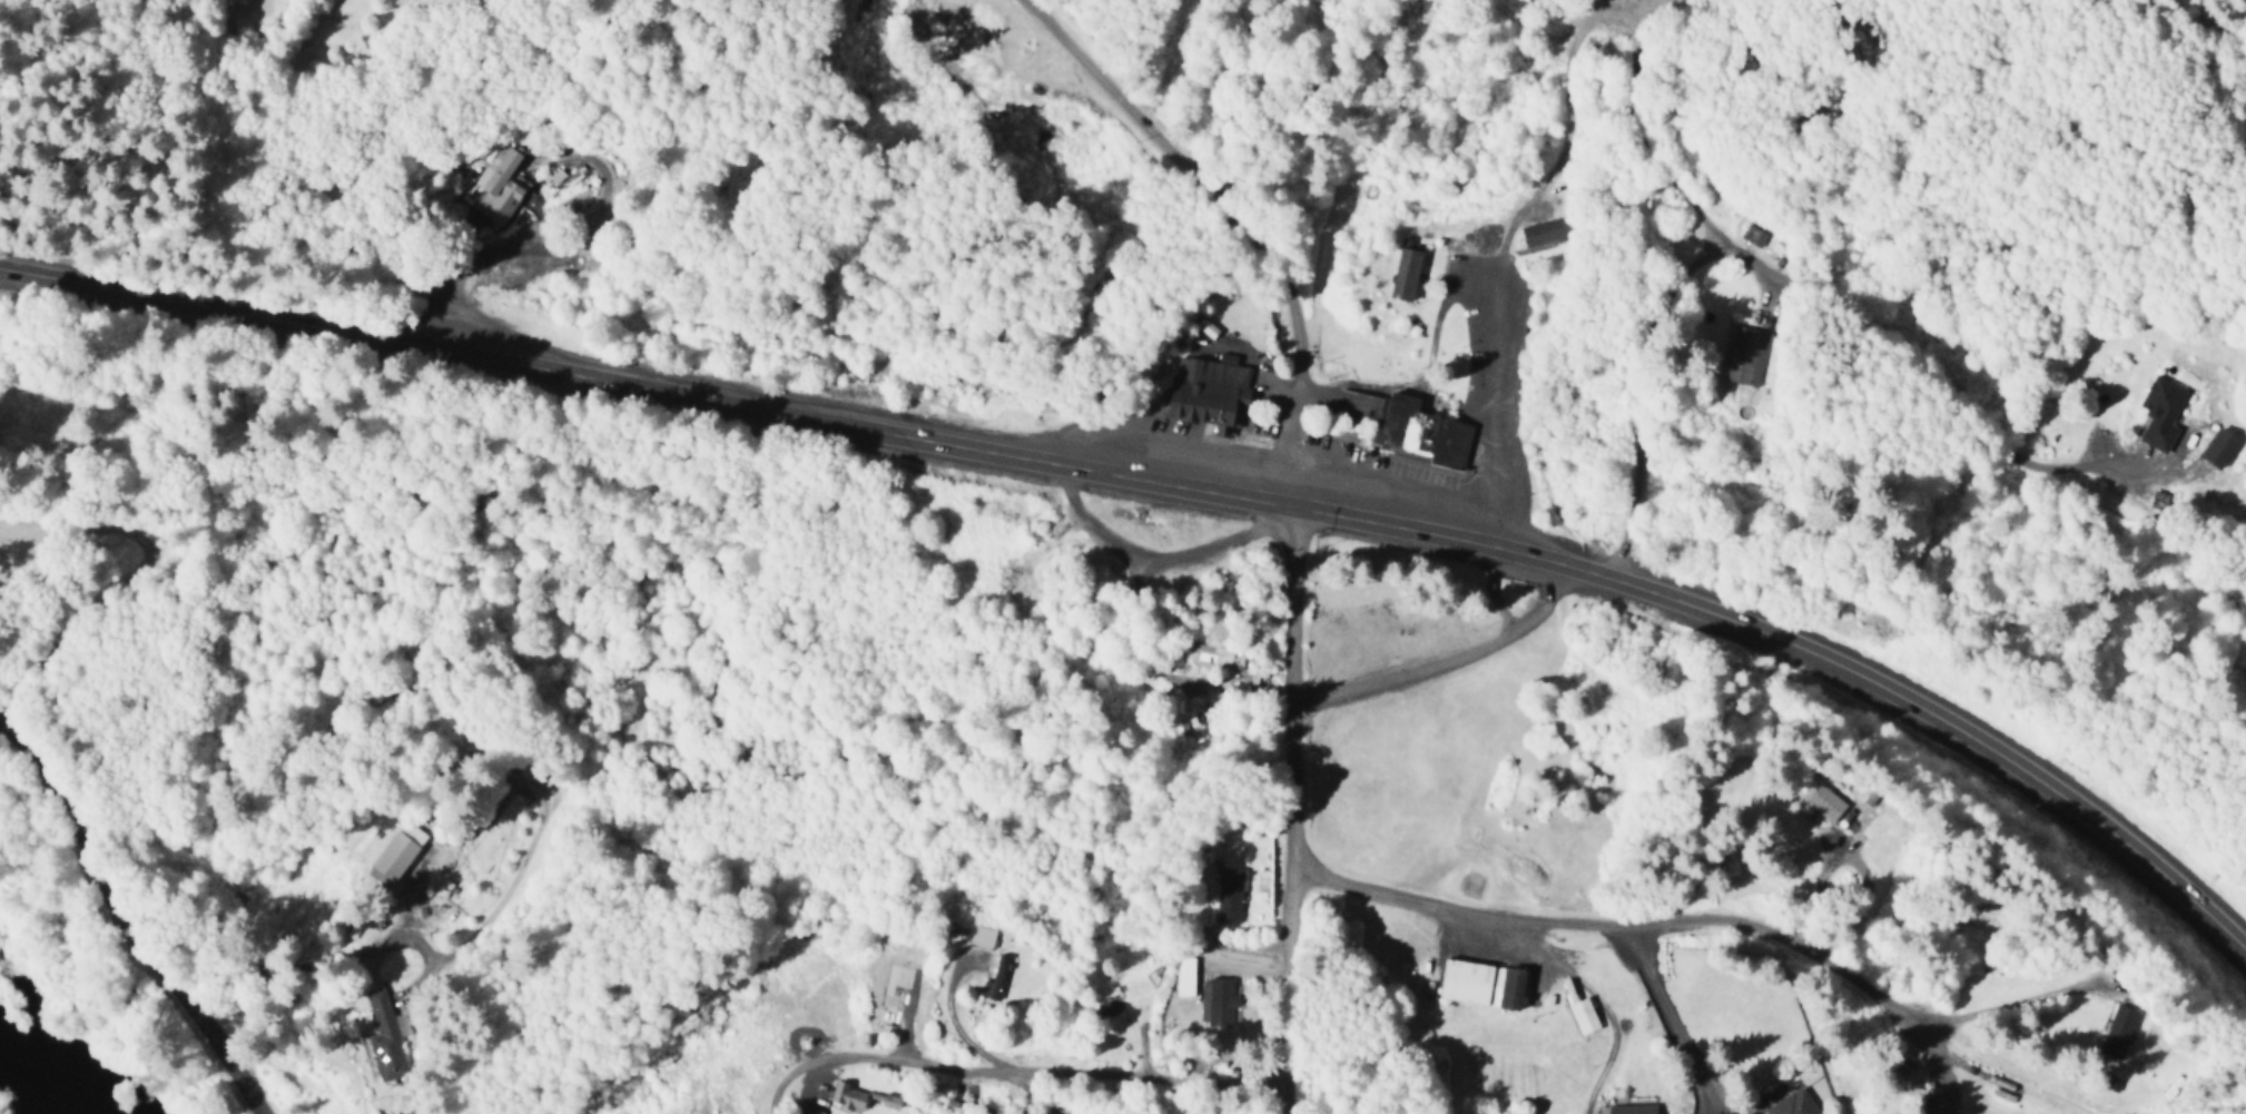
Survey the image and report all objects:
road: (1582, 23)
road: (1538, 27)
road: (1648, 144)
building: (500, 184)
road: (1244, 219)
building: (1754, 233)
road: (1513, 243)
building: (1406, 273)
road: (1795, 280)
road: (193, 299)
building: (1745, 354)
parking lot: (1515, 372)
building: (1205, 391)
building: (2161, 412)
building: (1424, 433)
building: (2218, 446)
road: (1362, 520)
road: (1054, 543)
road: (1163, 560)
building: (1213, 655)
road: (1451, 663)
building: (542, 779)
building: (1825, 800)
road: (1296, 810)
building: (396, 851)
building: (1229, 893)
road: (141, 908)
road: (1723, 920)
building: (982, 933)
building: (1185, 974)
building: (995, 977)
building: (1482, 982)
building: (1218, 999)
building: (1584, 1013)
road: (1674, 1014)
building: (2119, 1029)
road: (1949, 1061)
road: (2033, 1073)
river: (33, 1074)
road: (1018, 1074)
building: (847, 1093)
building: (890, 1100)
building: (1793, 1104)
building: (1632, 1107)
building: (1032, 1112)

